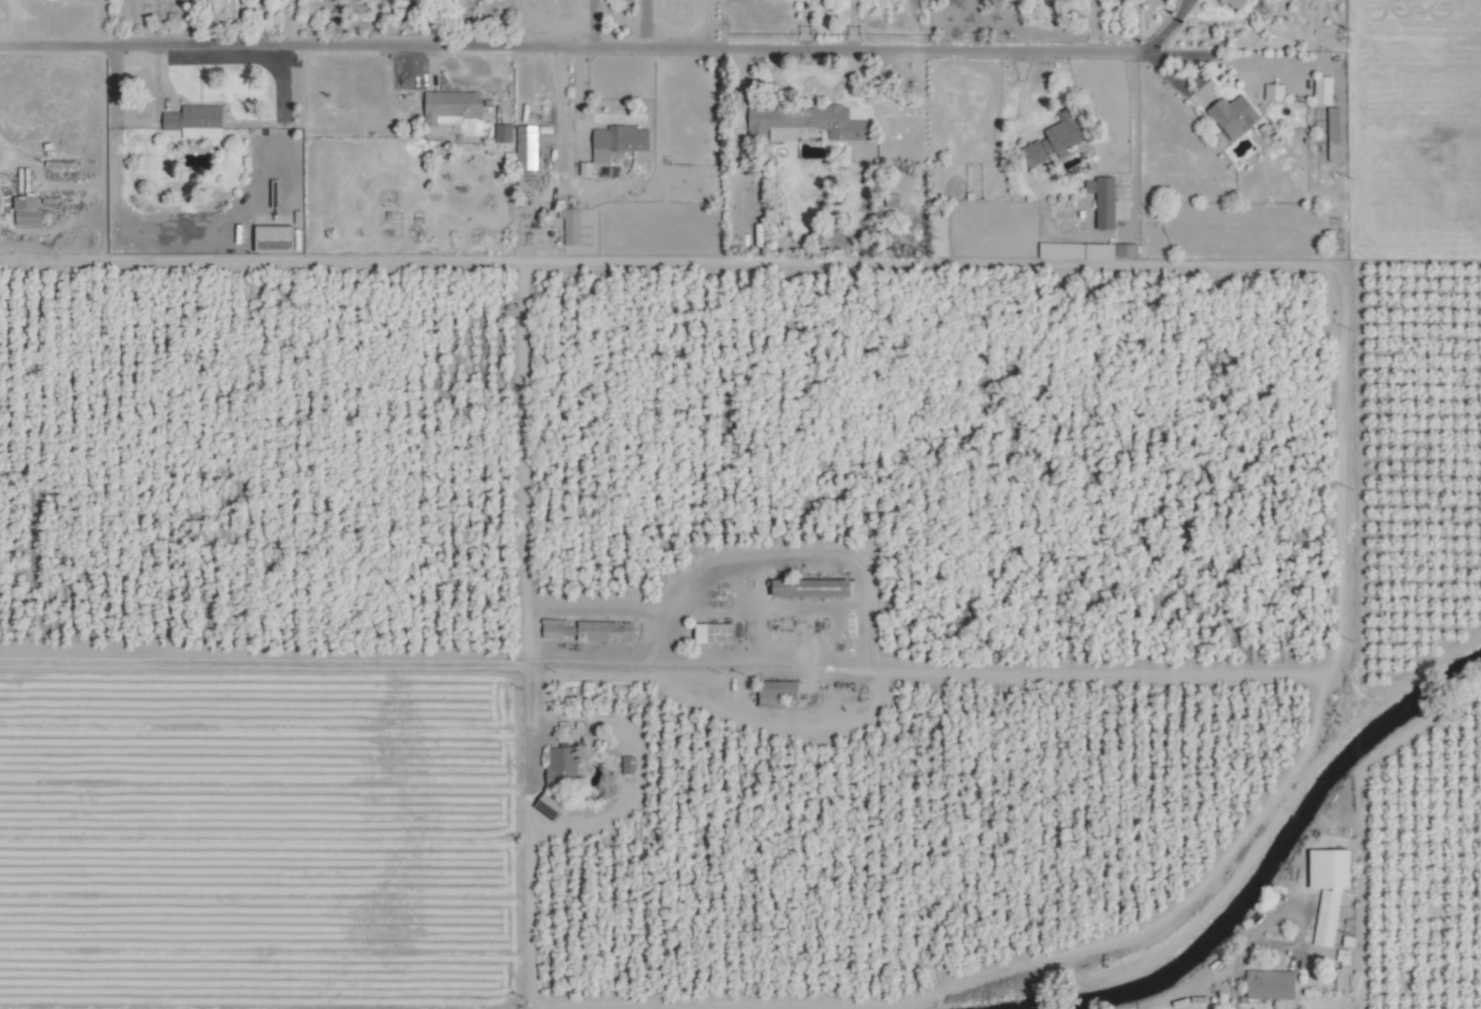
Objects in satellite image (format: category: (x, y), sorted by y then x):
building: (1237, 4)
road: (589, 23)
road: (641, 23)
road: (803, 23)
road: (853, 23)
road: (1169, 26)
road: (572, 46)
road: (1189, 59)
building: (1324, 90)
road: (807, 92)
building: (1275, 92)
road: (565, 96)
building: (452, 107)
building: (1234, 116)
building: (197, 121)
building: (806, 123)
crop: (1415, 129)
building: (504, 133)
building: (1335, 134)
building: (621, 140)
building: (1055, 140)
building: (525, 147)
building: (586, 169)
building: (893, 200)
building: (1104, 201)
building: (28, 211)
building: (572, 226)
building: (274, 238)
building: (1089, 251)
road: (1162, 267)
road: (522, 462)
crop: (740, 504)
building: (813, 589)
building: (606, 631)
building: (715, 633)
road: (365, 662)
building: (777, 692)
building: (629, 765)
building: (562, 766)
road: (591, 819)
building: (1330, 890)
road: (1299, 922)
building: (1343, 968)
road: (1235, 971)
building: (1271, 985)
road: (911, 998)

